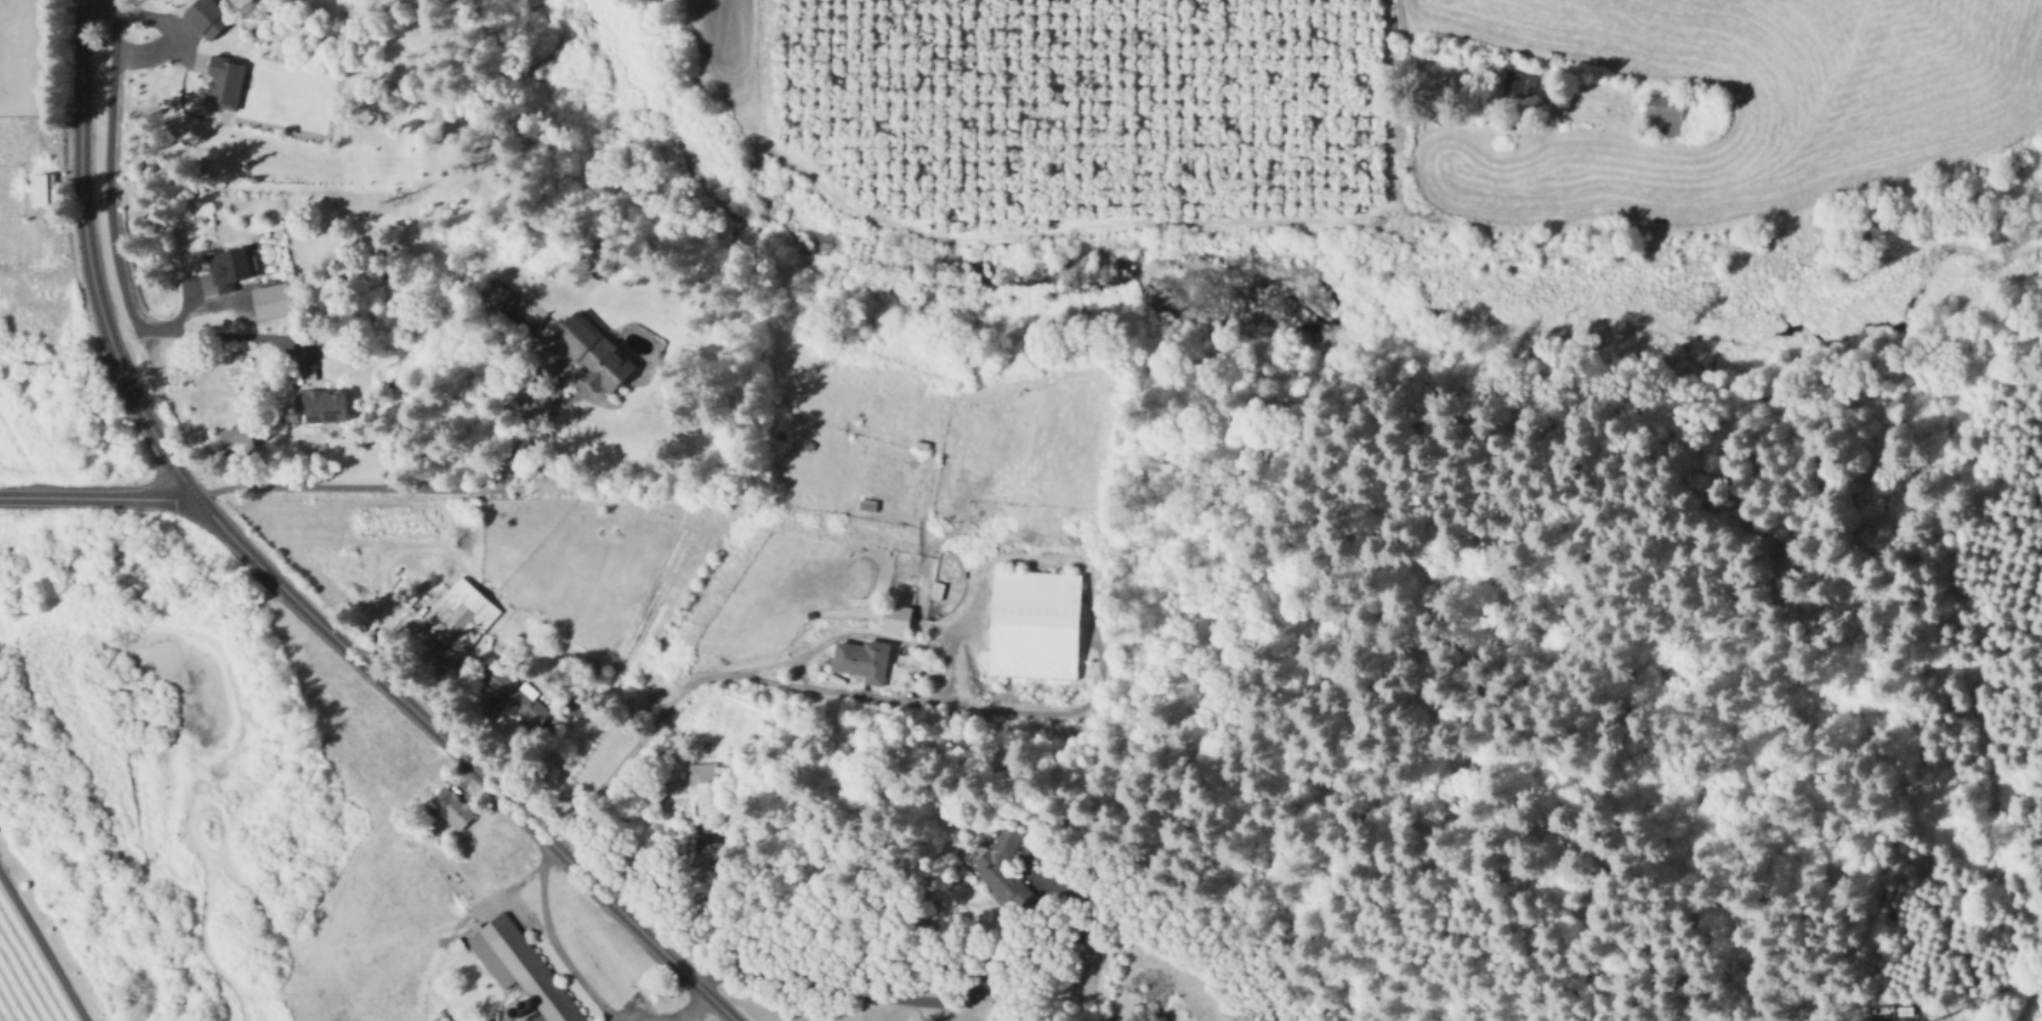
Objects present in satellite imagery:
road: (1394, 8)
building: (206, 17)
road: (163, 26)
road: (1501, 54)
building: (222, 82)
building: (1519, 82)
building: (1667, 114)
building: (45, 189)
road: (108, 199)
road: (1090, 221)
road: (89, 258)
building: (595, 259)
building: (230, 270)
building: (500, 300)
building: (272, 303)
road: (239, 333)
building: (596, 353)
building: (320, 408)
building: (234, 436)
road: (392, 486)
road: (96, 497)
building: (868, 505)
building: (459, 614)
building: (898, 618)
building: (1035, 621)
road: (868, 633)
building: (864, 660)
road: (776, 681)
building: (518, 695)
road: (464, 757)
building: (710, 792)
building: (454, 809)
building: (1009, 869)
road: (506, 888)
road: (551, 942)
road: (43, 943)
road: (429, 961)
building: (522, 968)
road: (645, 990)
road: (850, 990)
road: (685, 1004)
building: (1907, 1010)
road: (527, 1019)

